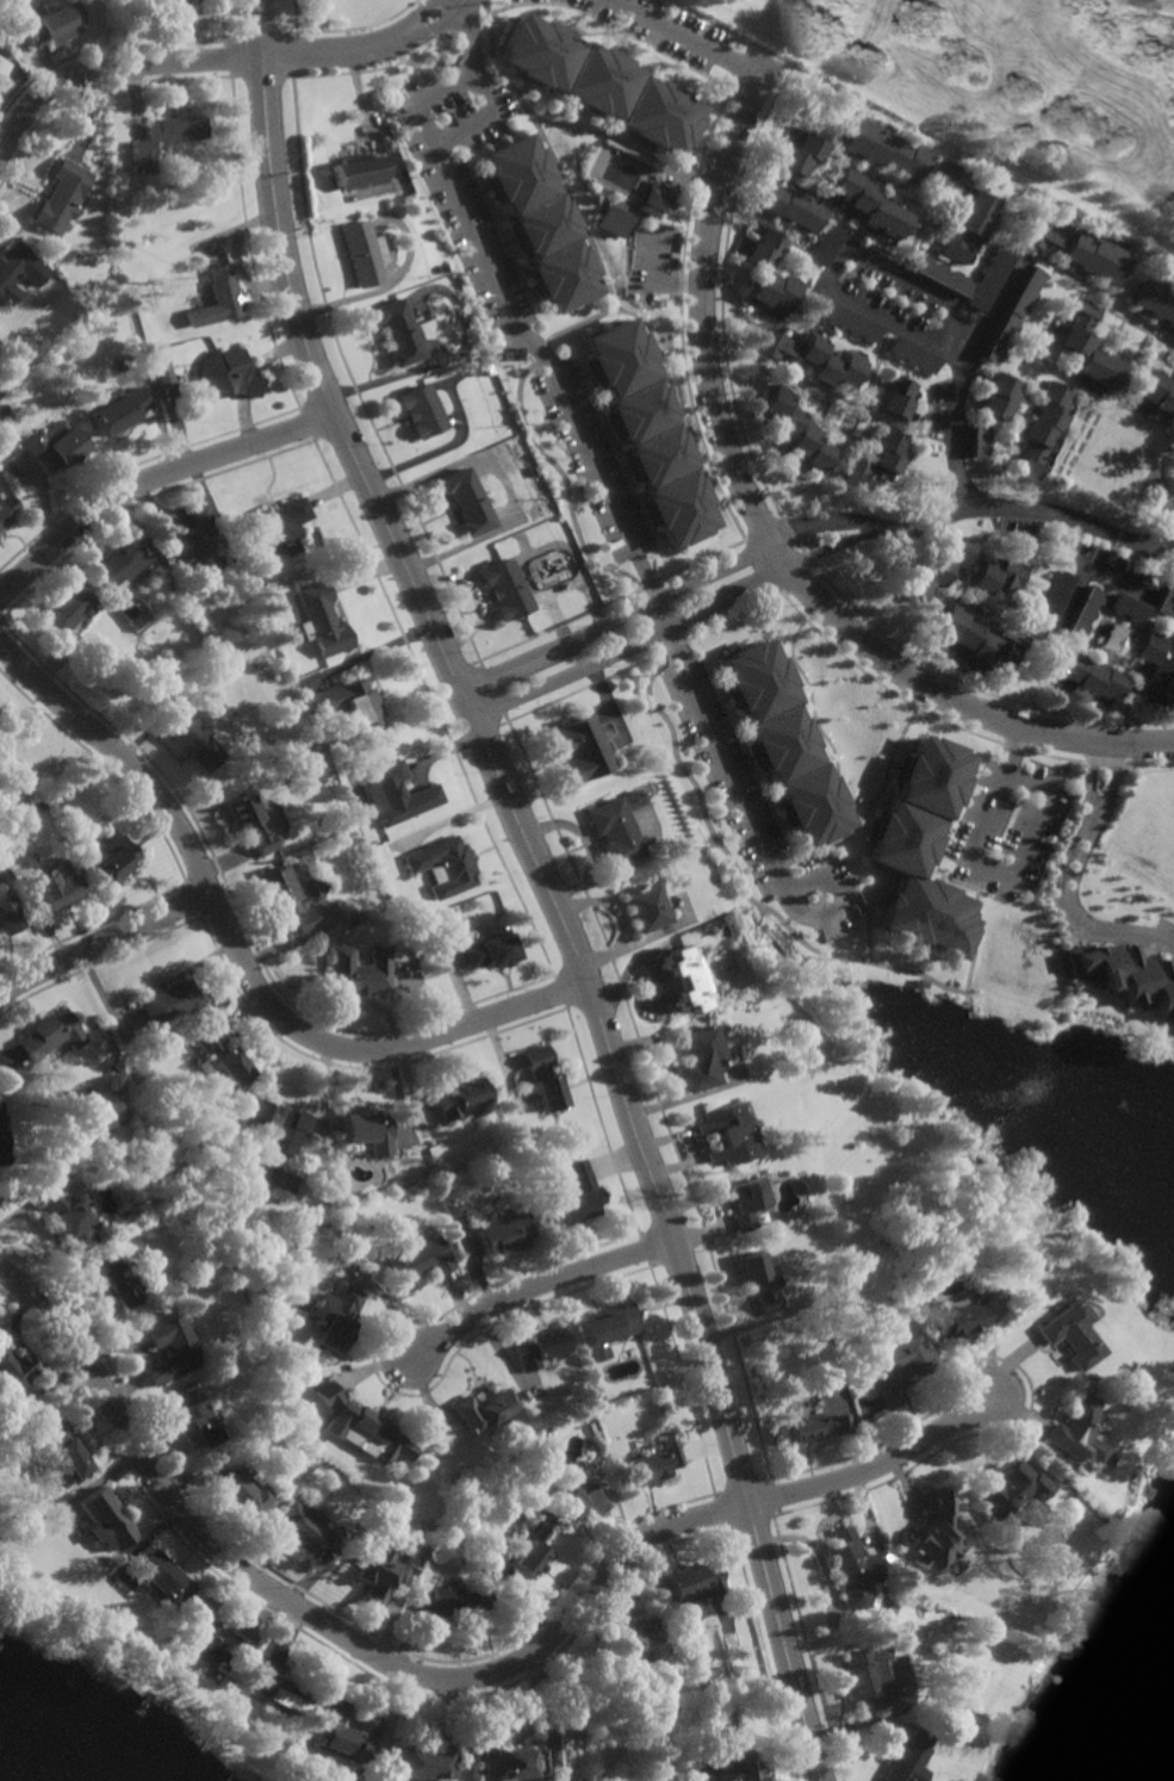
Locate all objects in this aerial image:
building: (168, 1)
park: (346, 11)
building: (49, 23)
road: (359, 26)
road: (293, 27)
road: (694, 37)
road: (216, 61)
building: (1, 66)
building: (601, 82)
road: (421, 95)
road: (499, 97)
building: (900, 130)
road: (598, 135)
building: (163, 138)
building: (884, 149)
building: (802, 154)
building: (354, 170)
building: (61, 196)
building: (652, 200)
building: (869, 204)
building: (790, 207)
building: (965, 211)
building: (611, 222)
building: (538, 223)
road: (728, 230)
building: (826, 244)
building: (1077, 250)
building: (361, 253)
building: (13, 265)
road: (830, 275)
building: (989, 275)
building: (771, 277)
building: (943, 277)
power tower: (117, 283)
road: (502, 293)
building: (1025, 293)
building: (216, 299)
building: (1155, 304)
building: (76, 317)
building: (845, 319)
building: (395, 333)
building: (1001, 340)
building: (1088, 349)
building: (914, 356)
building: (814, 358)
building: (484, 368)
building: (470, 370)
road: (961, 373)
building: (163, 374)
building: (225, 374)
building: (1156, 395)
building: (1000, 397)
building: (897, 398)
building: (420, 411)
building: (119, 412)
building: (1044, 429)
building: (795, 432)
building: (647, 434)
building: (982, 440)
building: (55, 448)
building: (877, 460)
road: (151, 478)
building: (462, 503)
road: (1027, 507)
building: (6, 509)
road: (871, 526)
building: (279, 527)
road: (768, 533)
building: (192, 541)
road: (583, 556)
building: (118, 567)
building: (938, 571)
road: (1106, 575)
building: (1001, 579)
building: (1173, 589)
building: (501, 591)
building: (1056, 595)
building: (1164, 604)
building: (66, 609)
building: (1129, 609)
building: (1087, 612)
road: (617, 619)
building: (321, 622)
building: (977, 638)
road: (631, 644)
building: (1160, 664)
building: (1087, 678)
building: (350, 703)
building: (784, 741)
building: (195, 744)
building: (576, 746)
road: (1004, 746)
building: (393, 793)
road: (750, 814)
building: (251, 823)
building: (608, 826)
road: (1079, 827)
road: (1097, 827)
building: (923, 850)
building: (64, 863)
building: (114, 863)
building: (443, 867)
road: (1013, 871)
road: (542, 885)
building: (57, 890)
building: (292, 899)
building: (640, 906)
building: (7, 916)
road: (977, 932)
road: (1119, 933)
road: (104, 941)
building: (490, 950)
road: (240, 956)
building: (359, 970)
building: (1130, 974)
building: (681, 979)
building: (170, 1003)
building: (51, 1035)
building: (222, 1057)
building: (695, 1059)
building: (543, 1079)
building: (460, 1098)
building: (274, 1124)
building: (367, 1134)
building: (722, 1135)
building: (1, 1143)
building: (327, 1179)
building: (574, 1196)
building: (743, 1204)
building: (68, 1220)
building: (505, 1234)
building: (403, 1243)
building: (417, 1262)
building: (110, 1282)
building: (759, 1283)
road: (535, 1286)
building: (273, 1310)
building: (337, 1323)
building: (955, 1323)
building: (605, 1330)
building: (1069, 1336)
building: (541, 1349)
building: (170, 1351)
building: (278, 1366)
building: (896, 1371)
building: (12, 1373)
building: (483, 1411)
building: (362, 1425)
building: (200, 1428)
building: (815, 1429)
building: (1073, 1435)
building: (63, 1454)
building: (647, 1465)
road: (877, 1465)
building: (244, 1488)
building: (1008, 1489)
building: (576, 1500)
building: (107, 1516)
building: (302, 1527)
building: (933, 1532)
building: (533, 1555)
building: (852, 1568)
building: (374, 1570)
building: (162, 1578)
building: (455, 1581)
building: (692, 1581)
road: (822, 1585)
building: (456, 1600)
road: (328, 1627)
building: (638, 1637)
building: (207, 1639)
building: (866, 1677)
building: (278, 1689)
building: (672, 1708)
building: (346, 1731)
building: (524, 1752)
building: (907, 1755)
building: (429, 1758)
building: (745, 1767)

